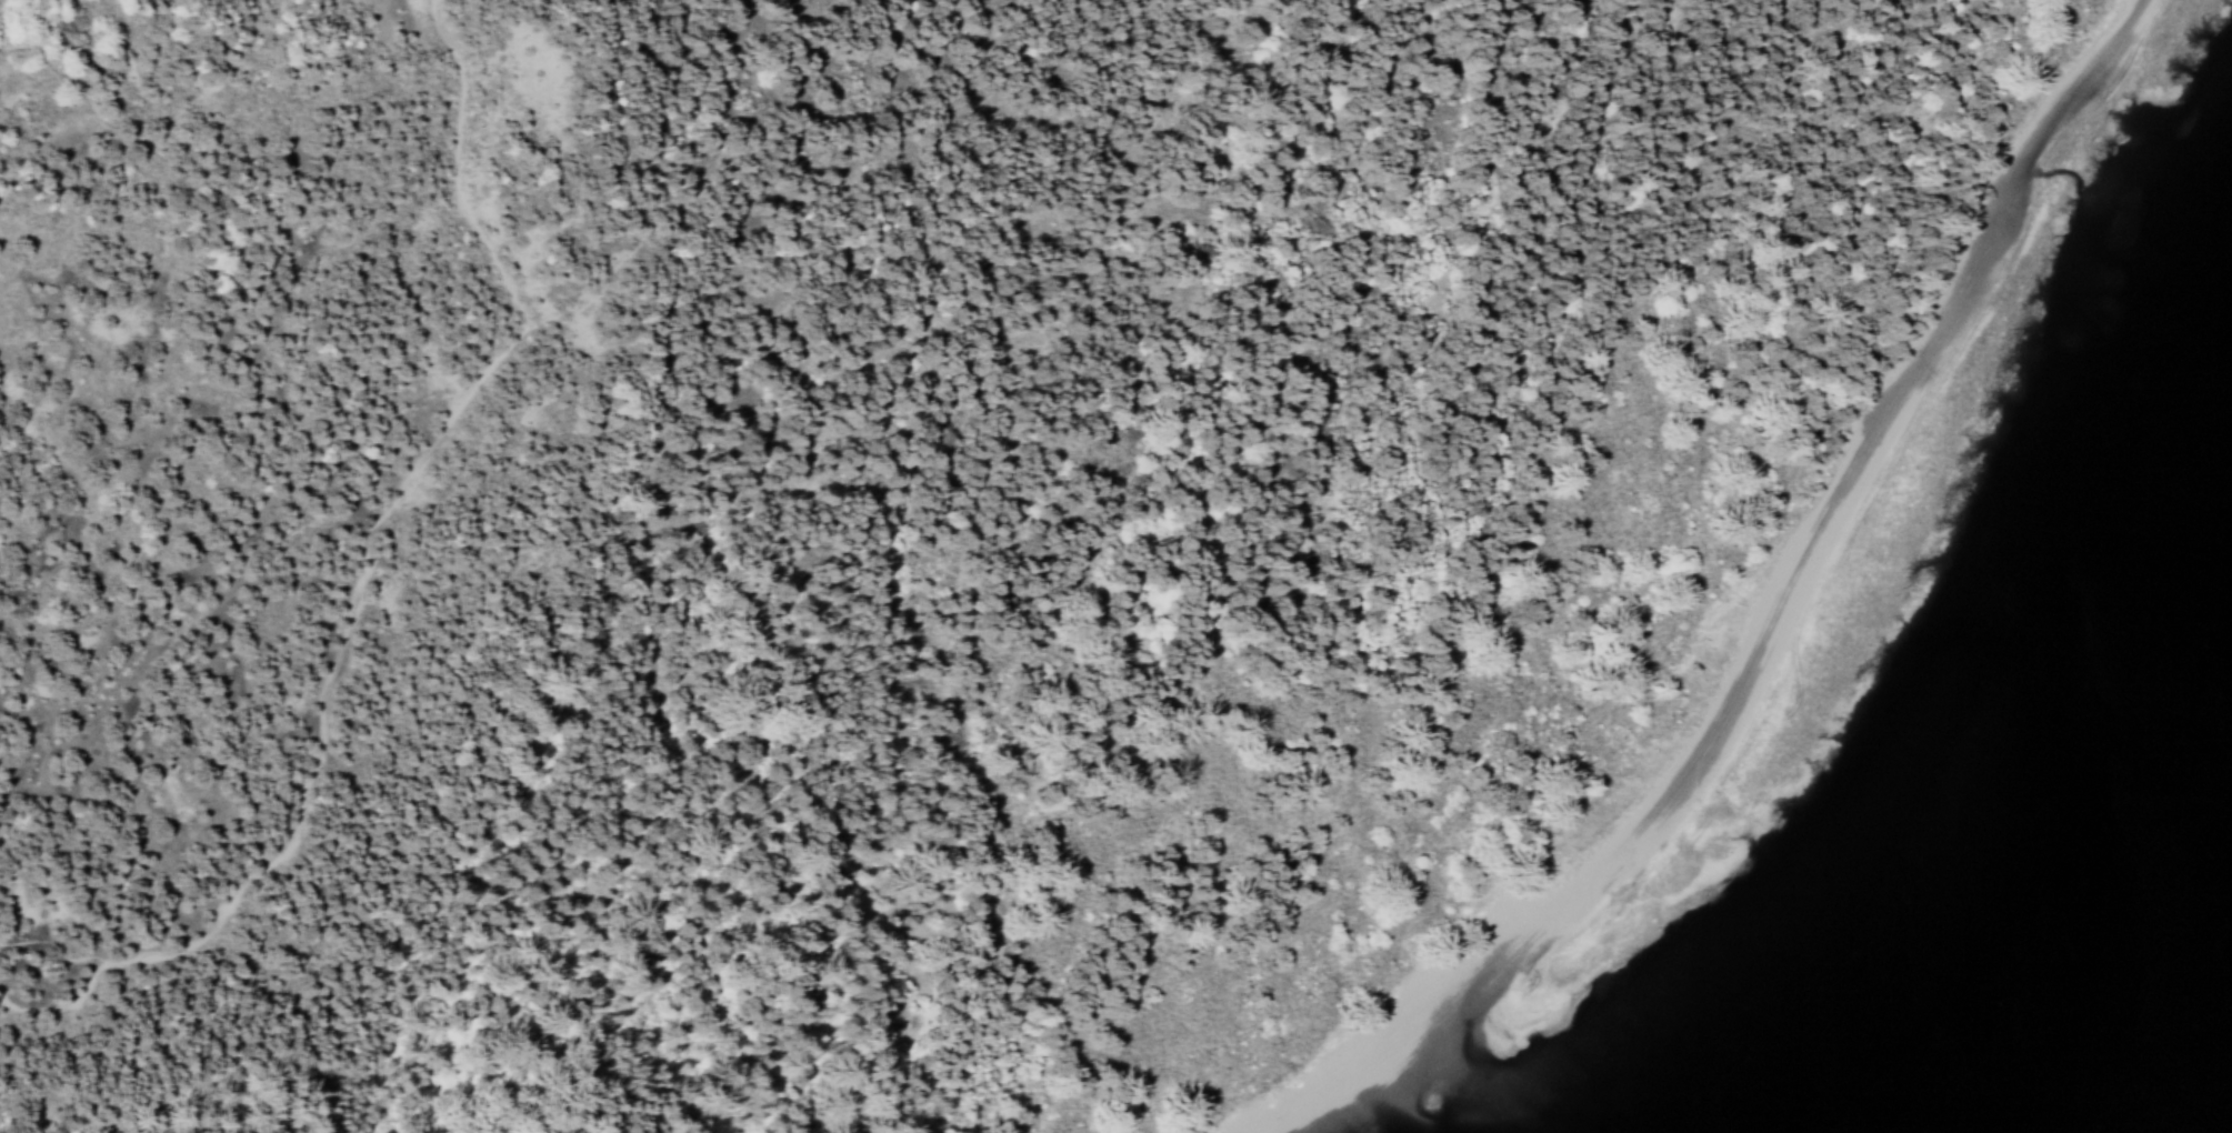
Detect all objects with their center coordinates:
road: (1144, 136)
road: (364, 570)
road: (942, 573)

